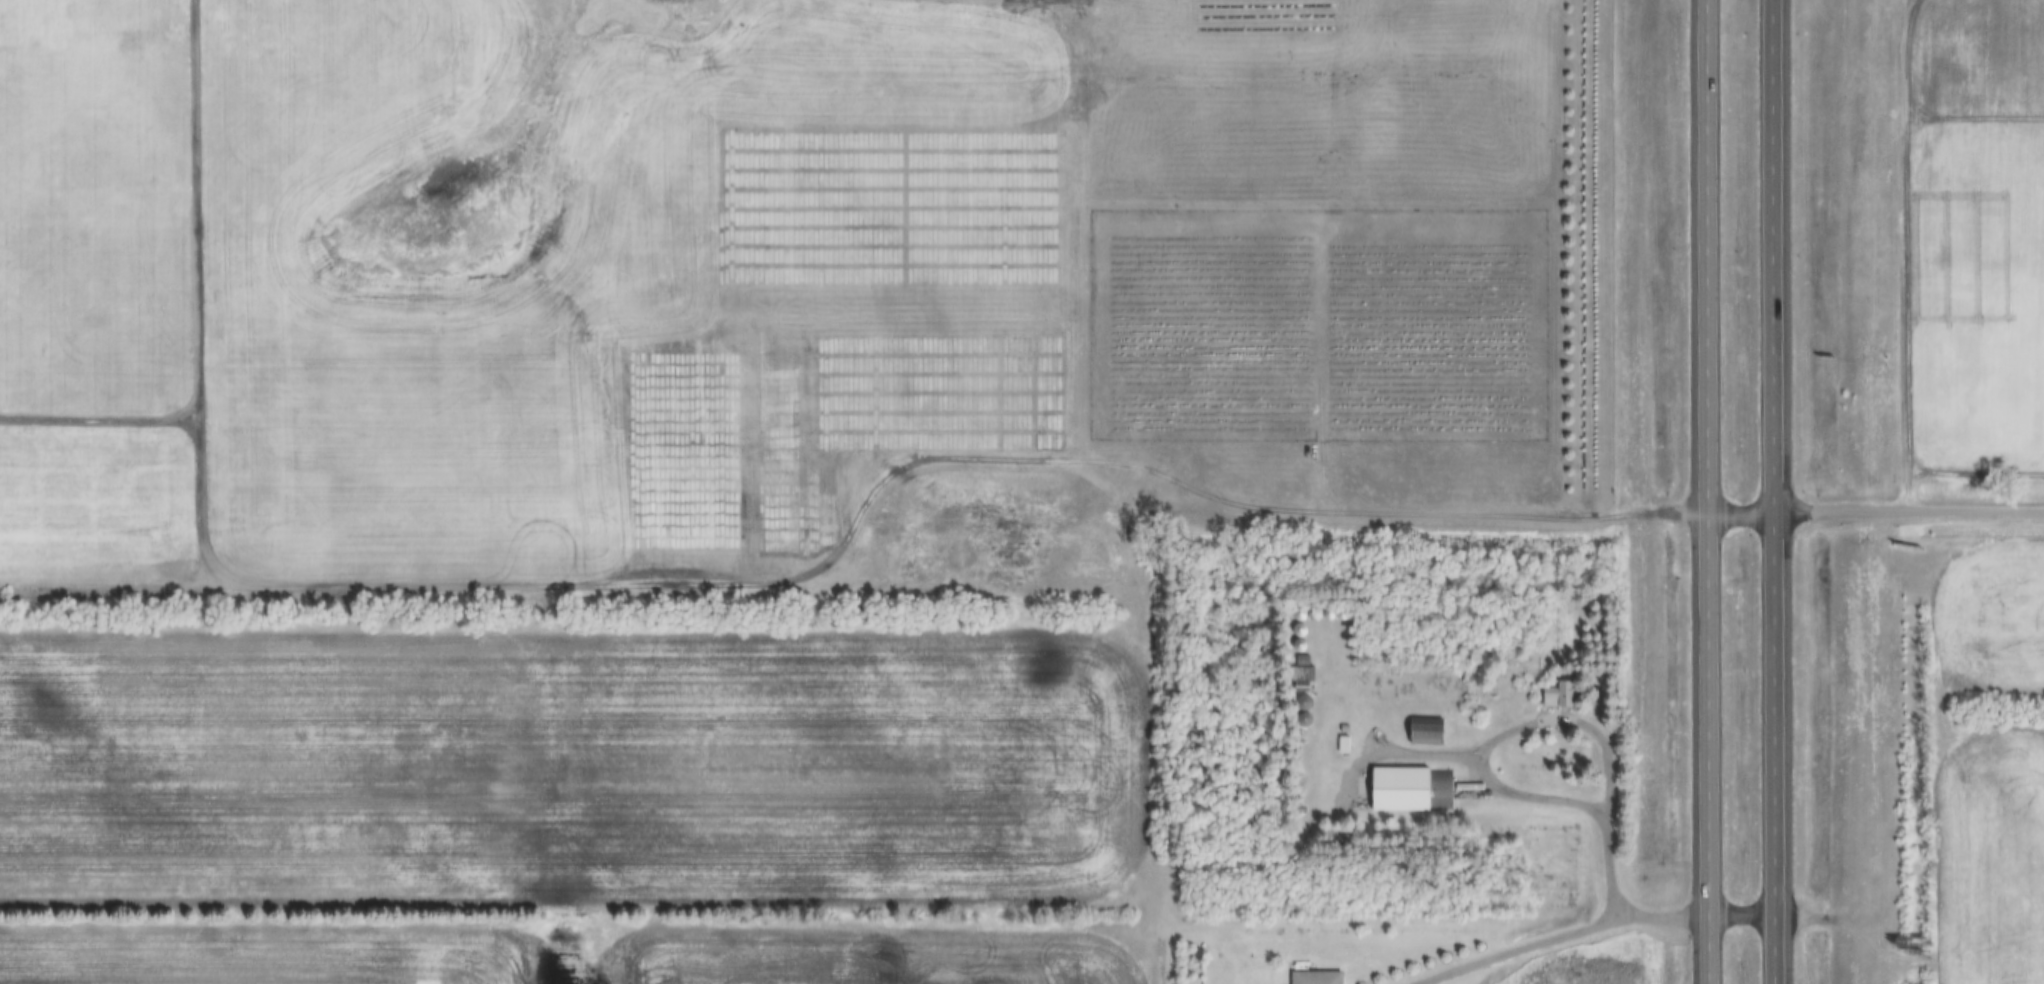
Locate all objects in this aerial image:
road: (1710, 491)
road: (1777, 492)
road: (1910, 505)
road: (1744, 511)
building: (1556, 696)
building: (1300, 704)
building: (1424, 732)
building: (1341, 745)
road: (1939, 771)
building: (1411, 789)
road: (1566, 796)
building: (1340, 804)
road: (1744, 911)
road: (1520, 946)
building: (1311, 976)

